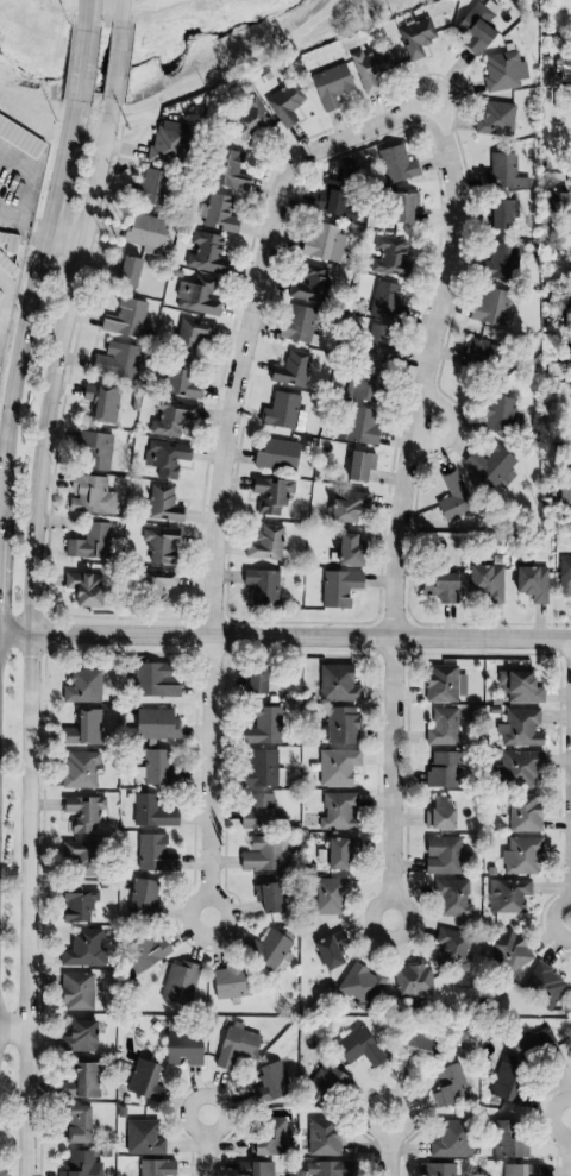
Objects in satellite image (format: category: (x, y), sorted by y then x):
road: (138, 8)
road: (87, 11)
road: (121, 13)
building: (473, 30)
building: (414, 38)
river: (153, 61)
road: (82, 62)
road: (115, 65)
building: (366, 68)
building: (563, 68)
building: (503, 70)
building: (332, 82)
building: (284, 103)
building: (494, 119)
building: (249, 120)
building: (19, 134)
building: (167, 144)
building: (395, 163)
building: (227, 171)
building: (502, 172)
building: (152, 188)
building: (333, 200)
building: (558, 201)
building: (406, 207)
road: (13, 208)
building: (221, 213)
building: (498, 213)
building: (146, 232)
road: (51, 234)
building: (322, 241)
building: (206, 253)
building: (7, 258)
building: (390, 259)
building: (500, 260)
building: (126, 271)
building: (309, 284)
building: (0, 289)
building: (196, 294)
building: (0, 295)
building: (384, 300)
road: (27, 302)
building: (489, 306)
building: (124, 317)
building: (567, 317)
building: (297, 323)
building: (192, 334)
building: (378, 342)
building: (478, 354)
building: (113, 358)
building: (290, 369)
building: (182, 378)
building: (368, 383)
building: (103, 404)
building: (280, 411)
building: (497, 414)
building: (169, 417)
road: (423, 423)
building: (360, 426)
road: (2, 428)
building: (95, 451)
building: (276, 455)
building: (167, 457)
building: (489, 464)
building: (359, 466)
road: (404, 470)
building: (86, 493)
building: (270, 495)
building: (564, 495)
building: (453, 497)
road: (220, 499)
building: (162, 504)
building: (347, 505)
building: (90, 543)
building: (264, 543)
building: (158, 546)
building: (346, 549)
building: (564, 576)
building: (528, 579)
building: (484, 581)
building: (157, 585)
building: (261, 585)
building: (438, 586)
building: (337, 587)
building: (82, 590)
road: (29, 636)
road: (284, 636)
building: (252, 678)
building: (153, 679)
building: (335, 684)
building: (443, 684)
building: (80, 686)
building: (517, 686)
building: (155, 724)
building: (340, 724)
building: (262, 727)
building: (441, 727)
building: (82, 728)
building: (519, 728)
building: (156, 767)
building: (335, 767)
building: (262, 768)
building: (519, 768)
building: (80, 769)
building: (443, 769)
building: (151, 811)
building: (256, 811)
building: (337, 811)
building: (82, 812)
building: (522, 812)
building: (437, 813)
building: (337, 851)
building: (151, 853)
building: (263, 854)
building: (443, 855)
building: (520, 855)
building: (76, 859)
building: (325, 895)
building: (507, 895)
building: (142, 897)
building: (266, 897)
building: (451, 898)
building: (75, 904)
building: (81, 948)
building: (450, 948)
building: (269, 949)
building: (148, 950)
building: (326, 950)
building: (506, 952)
building: (412, 980)
building: (228, 982)
building: (177, 983)
building: (542, 986)
building: (358, 987)
building: (75, 991)
road: (12, 1027)
building: (76, 1036)
building: (416, 1044)
building: (534, 1044)
building: (234, 1045)
building: (357, 1048)
building: (181, 1049)
building: (269, 1075)
building: (81, 1080)
building: (143, 1081)
building: (447, 1084)
building: (504, 1084)
building: (328, 1087)
building: (76, 1124)
building: (266, 1137)
building: (320, 1137)
building: (140, 1138)
building: (450, 1139)
building: (508, 1140)
road: (390, 1145)
road: (206, 1147)
road: (567, 1147)
building: (80, 1164)
building: (157, 1168)
building: (327, 1168)
building: (257, 1169)
building: (437, 1169)
building: (519, 1170)

